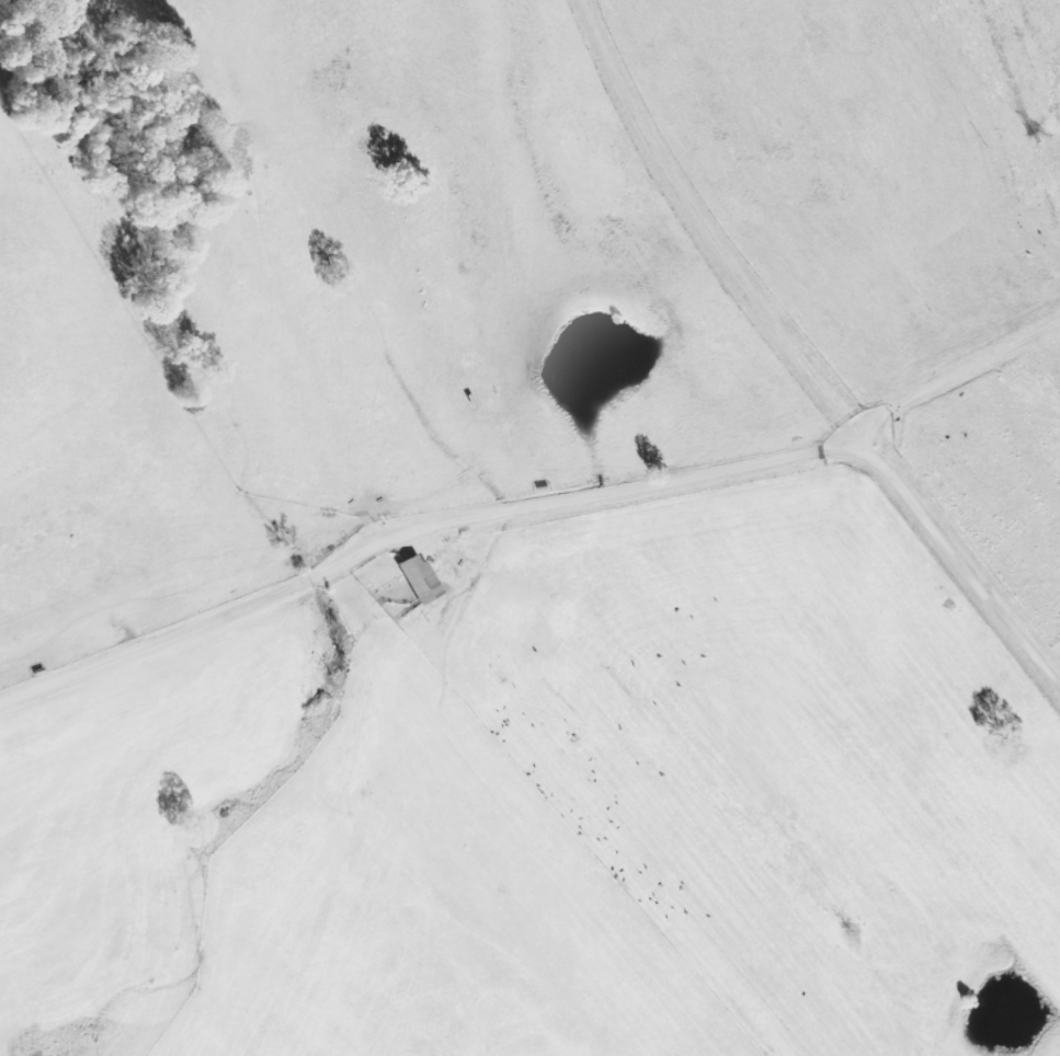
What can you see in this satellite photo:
road: (684, 241)
road: (418, 532)
road: (960, 566)

